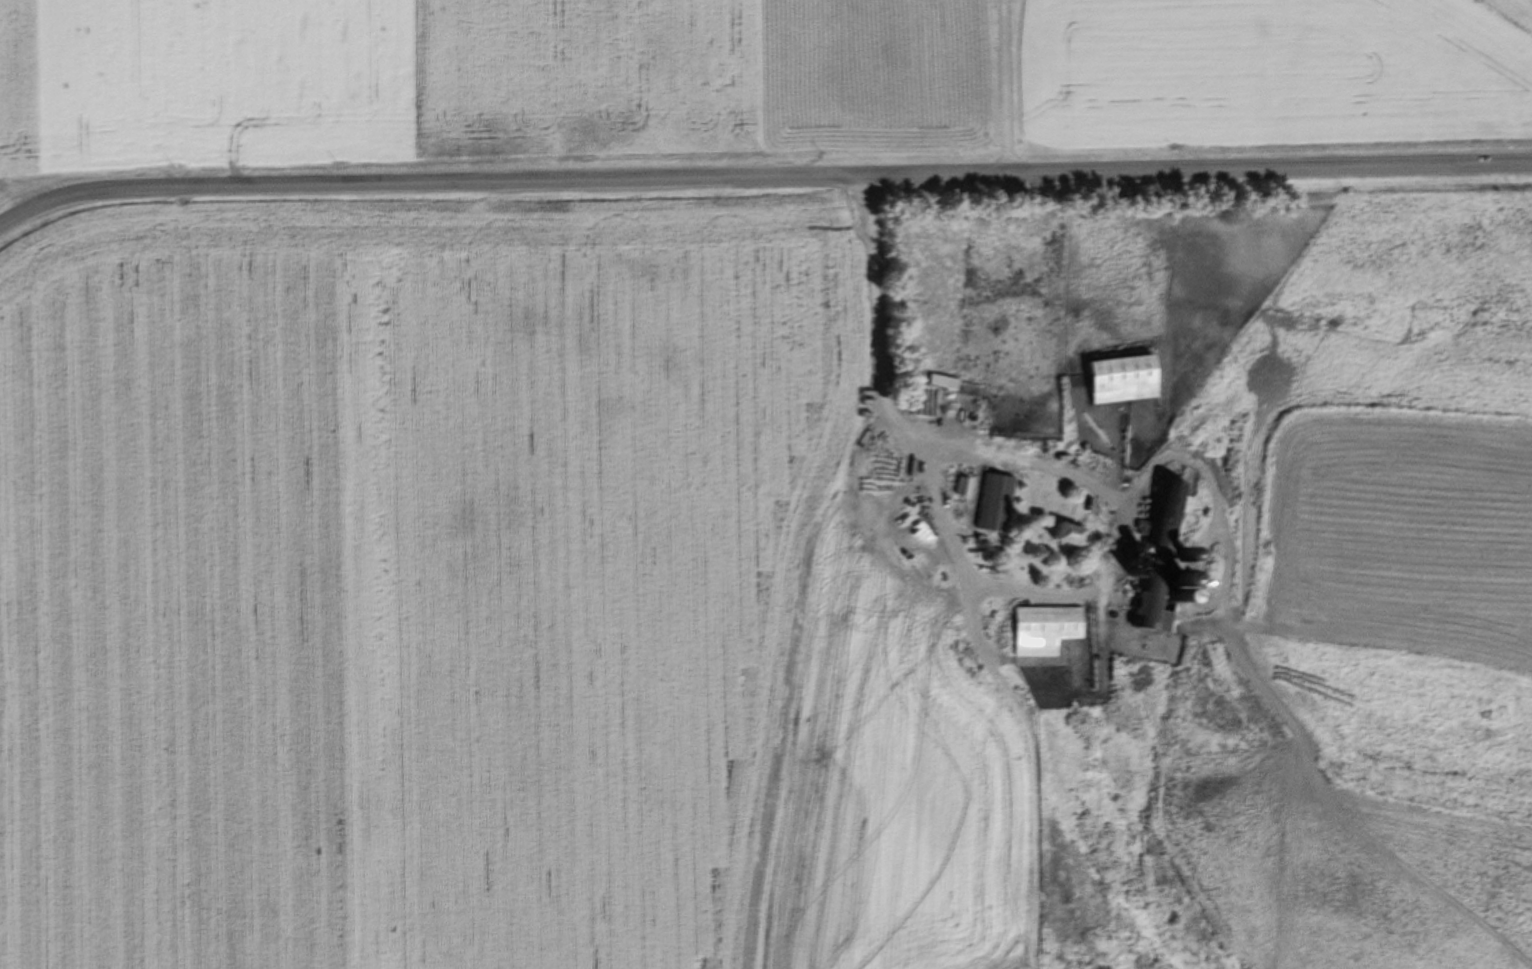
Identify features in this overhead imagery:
road: (1003, 87)
road: (762, 178)
building: (1116, 379)
building: (950, 386)
road: (1061, 474)
building: (959, 487)
building: (989, 504)
building: (1157, 563)
building: (1040, 630)
building: (1087, 665)

